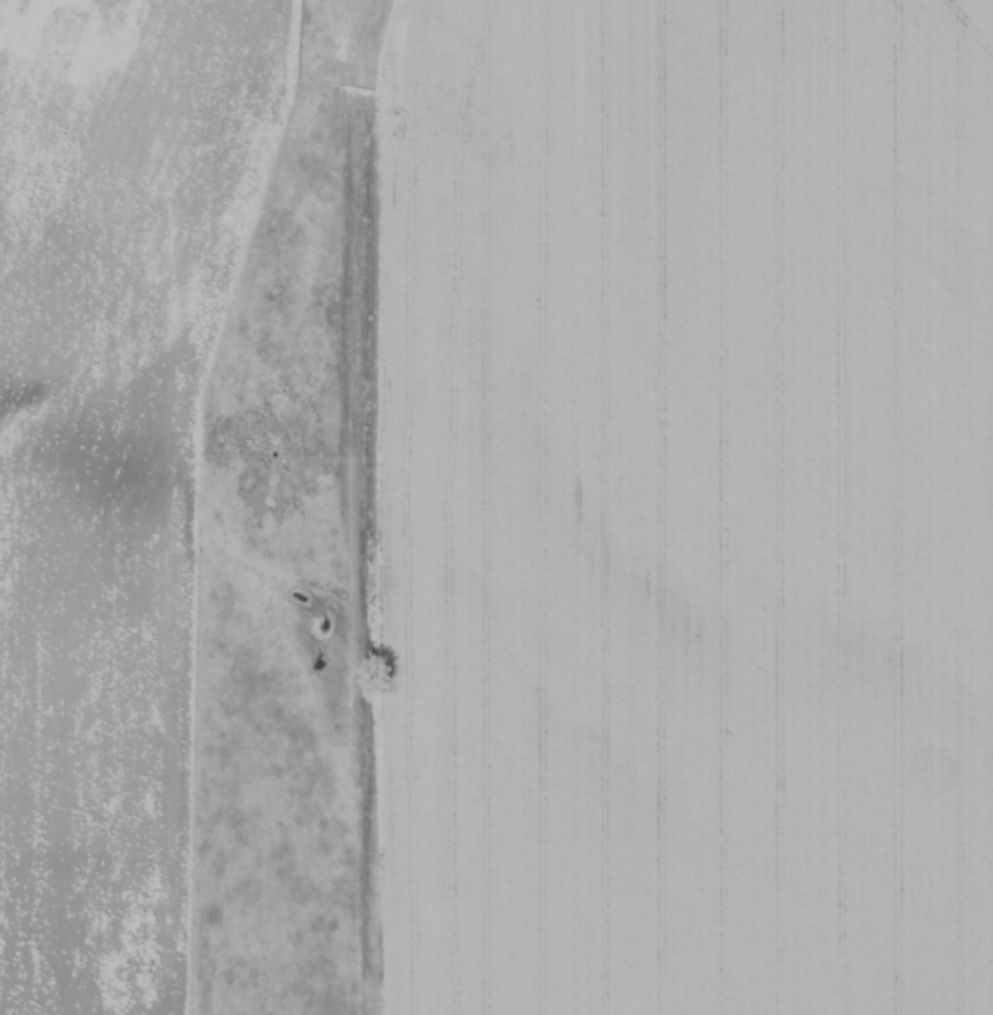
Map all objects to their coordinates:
power tower: (147, 983)

